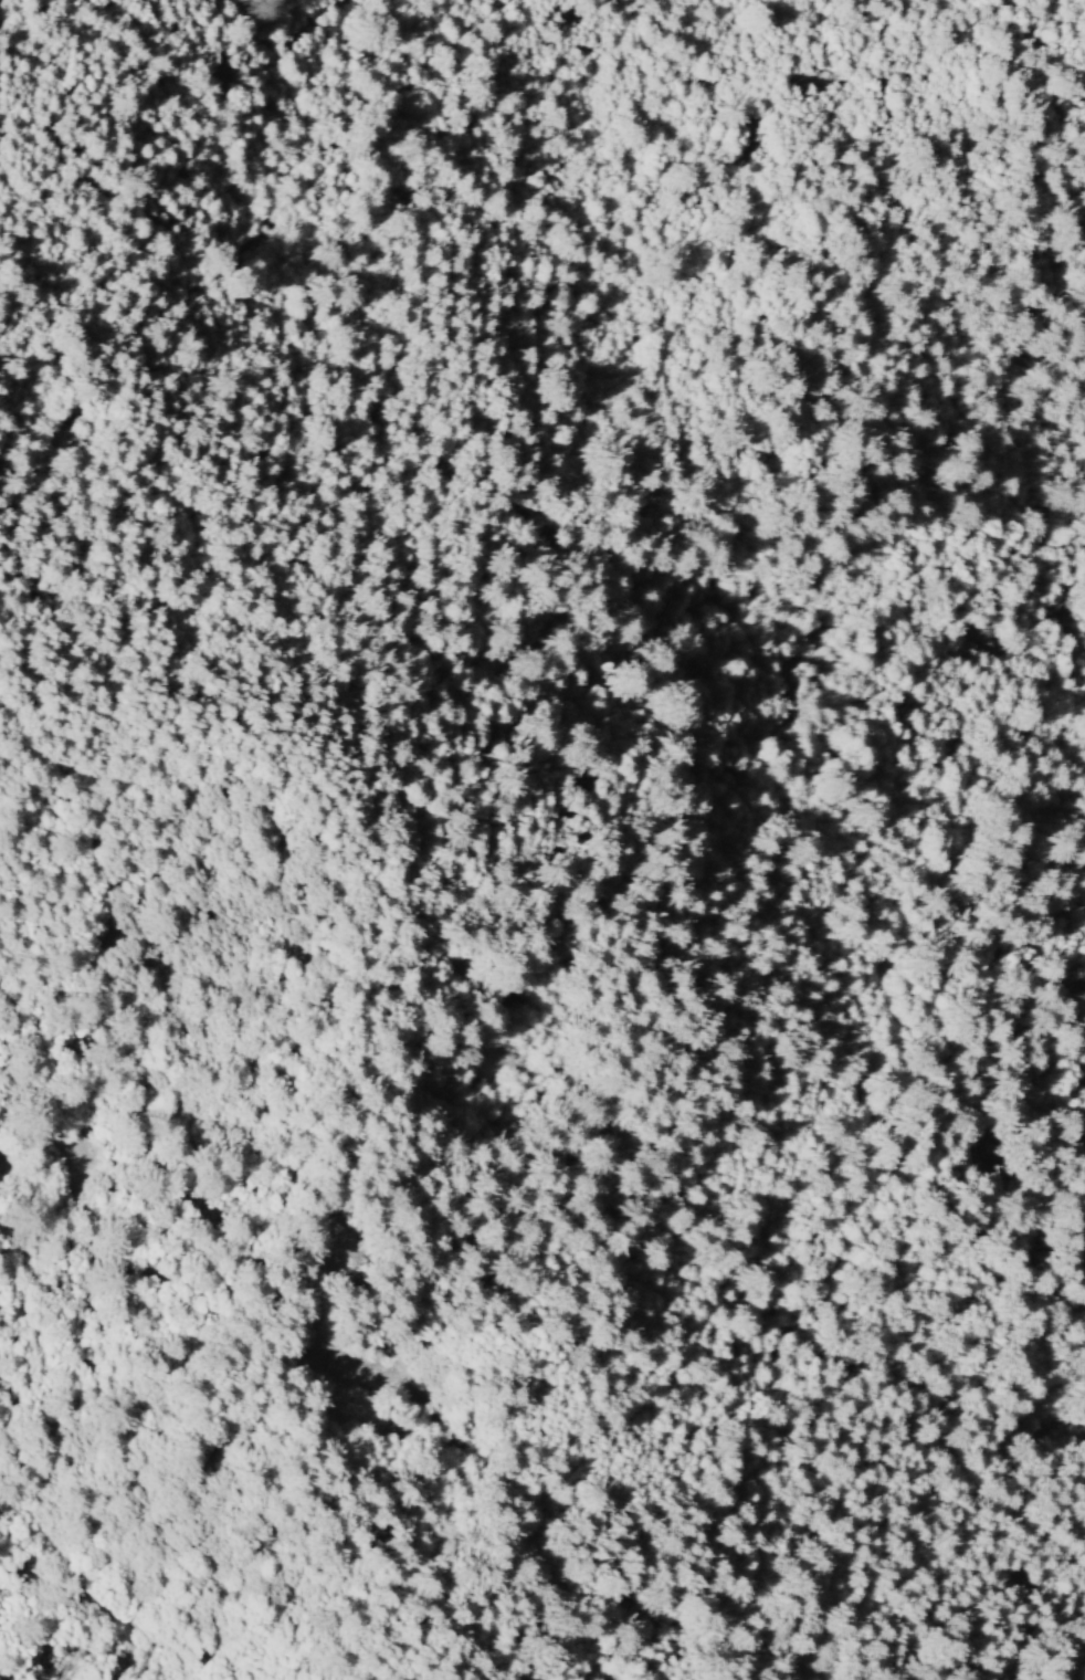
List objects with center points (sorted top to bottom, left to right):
road: (30, 1235)
road: (89, 1595)

